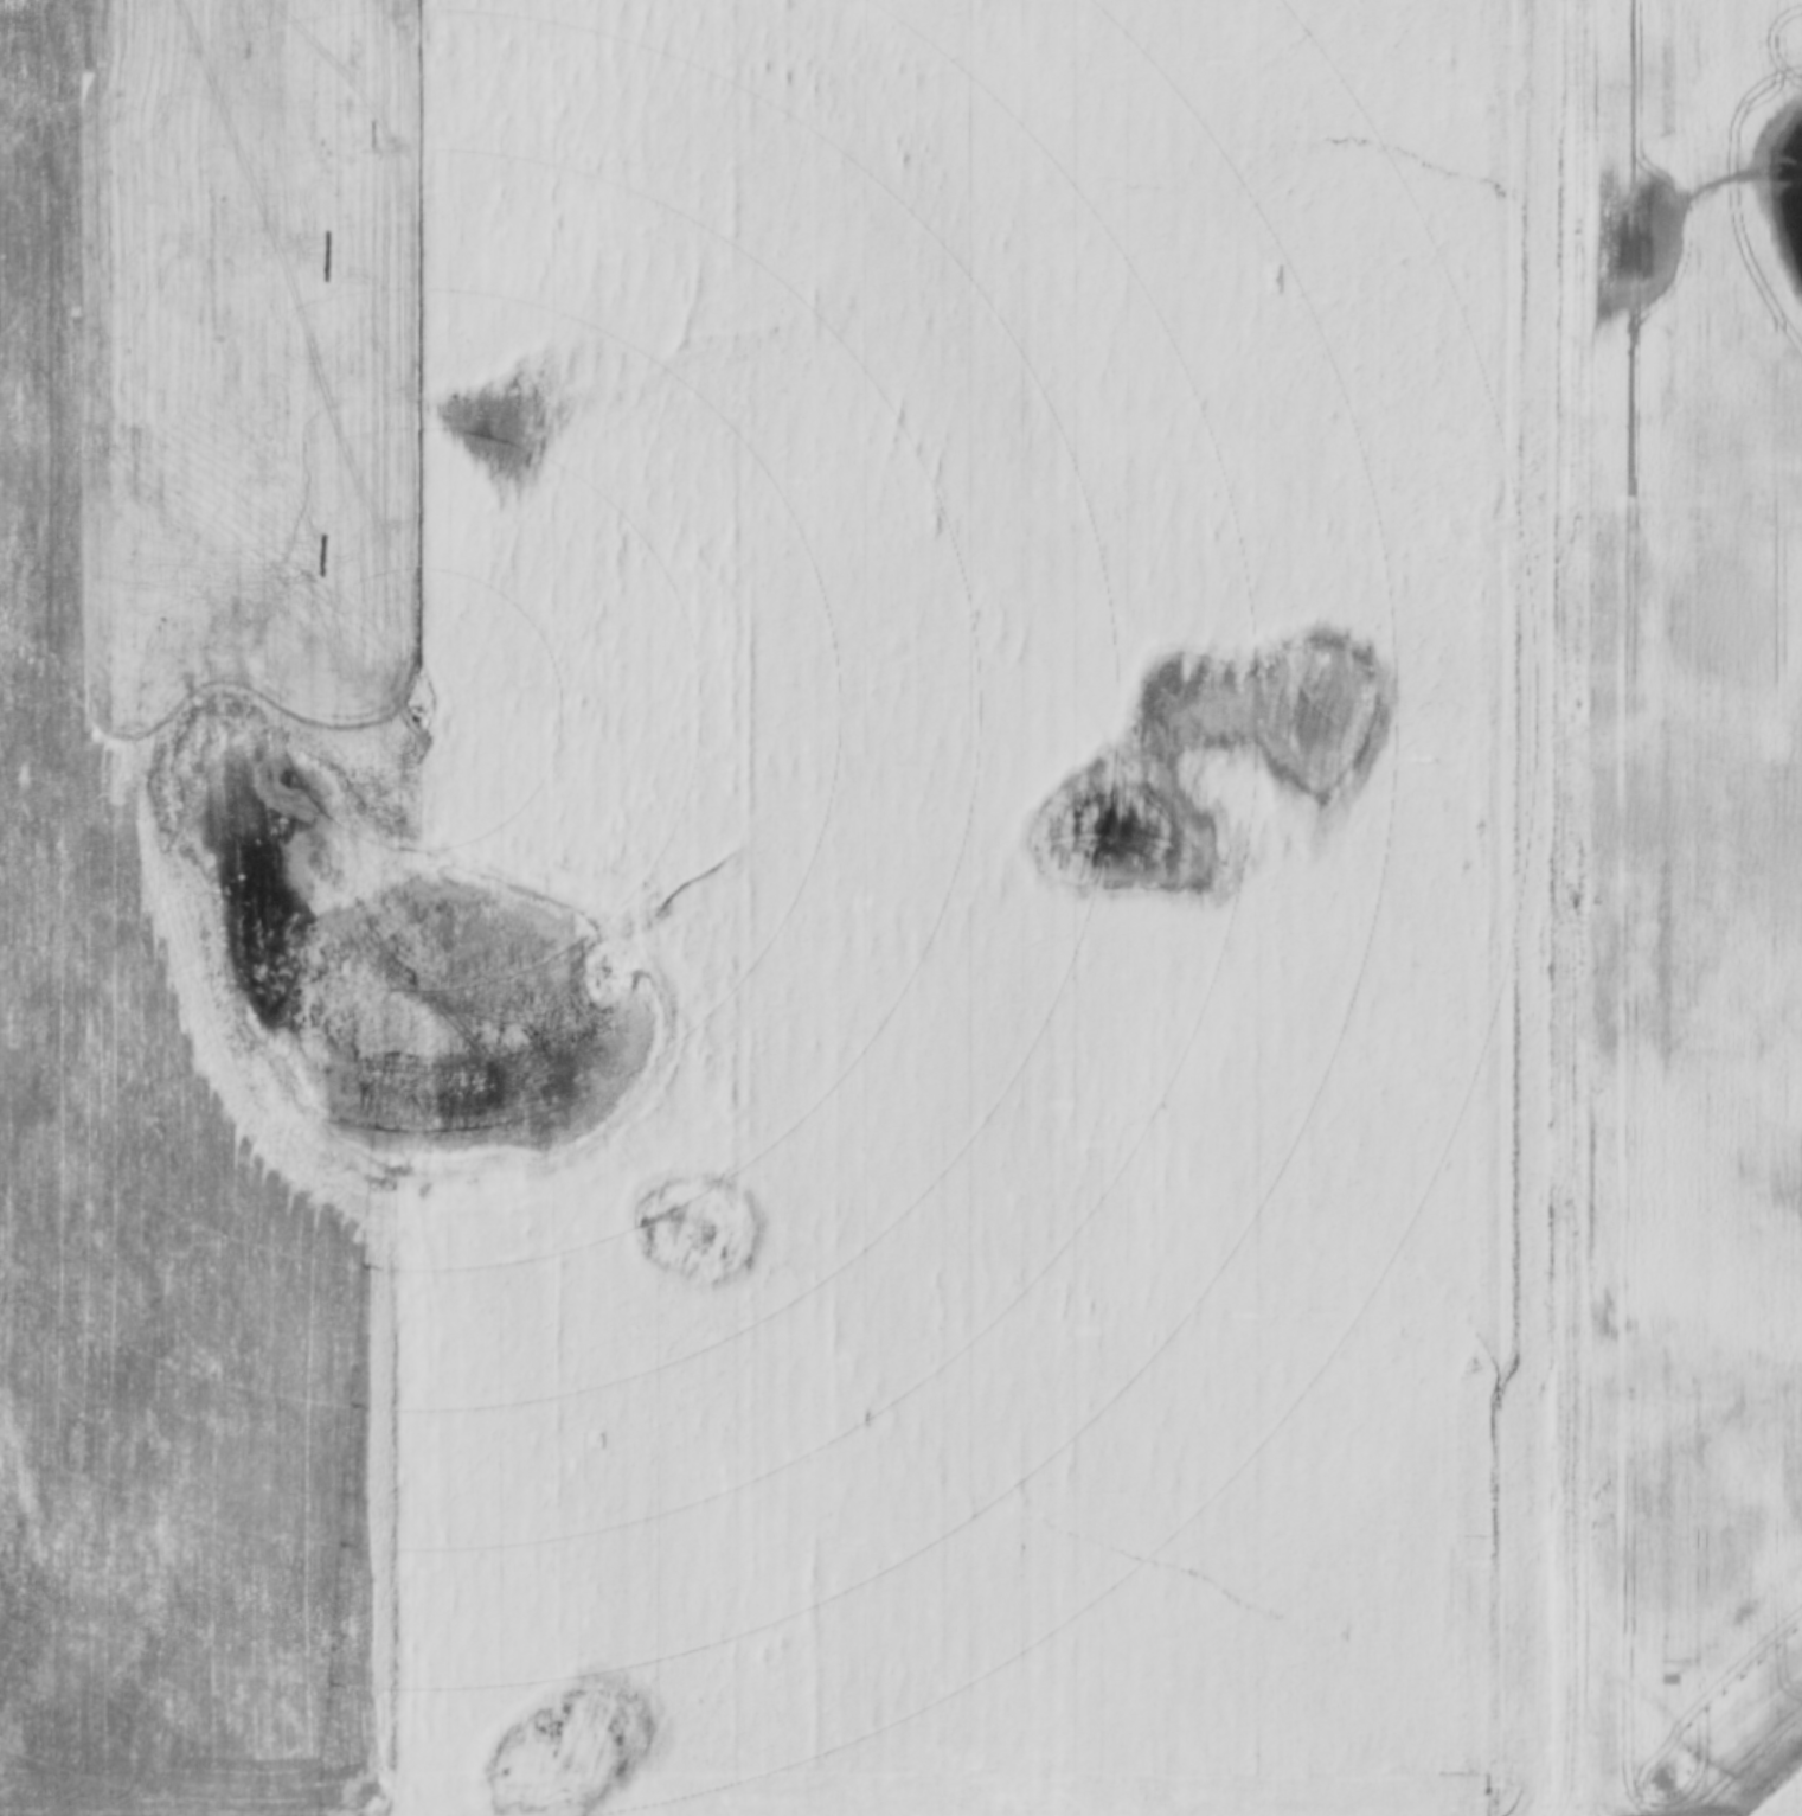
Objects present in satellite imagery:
road: (1564, 908)
crop: (1686, 908)

